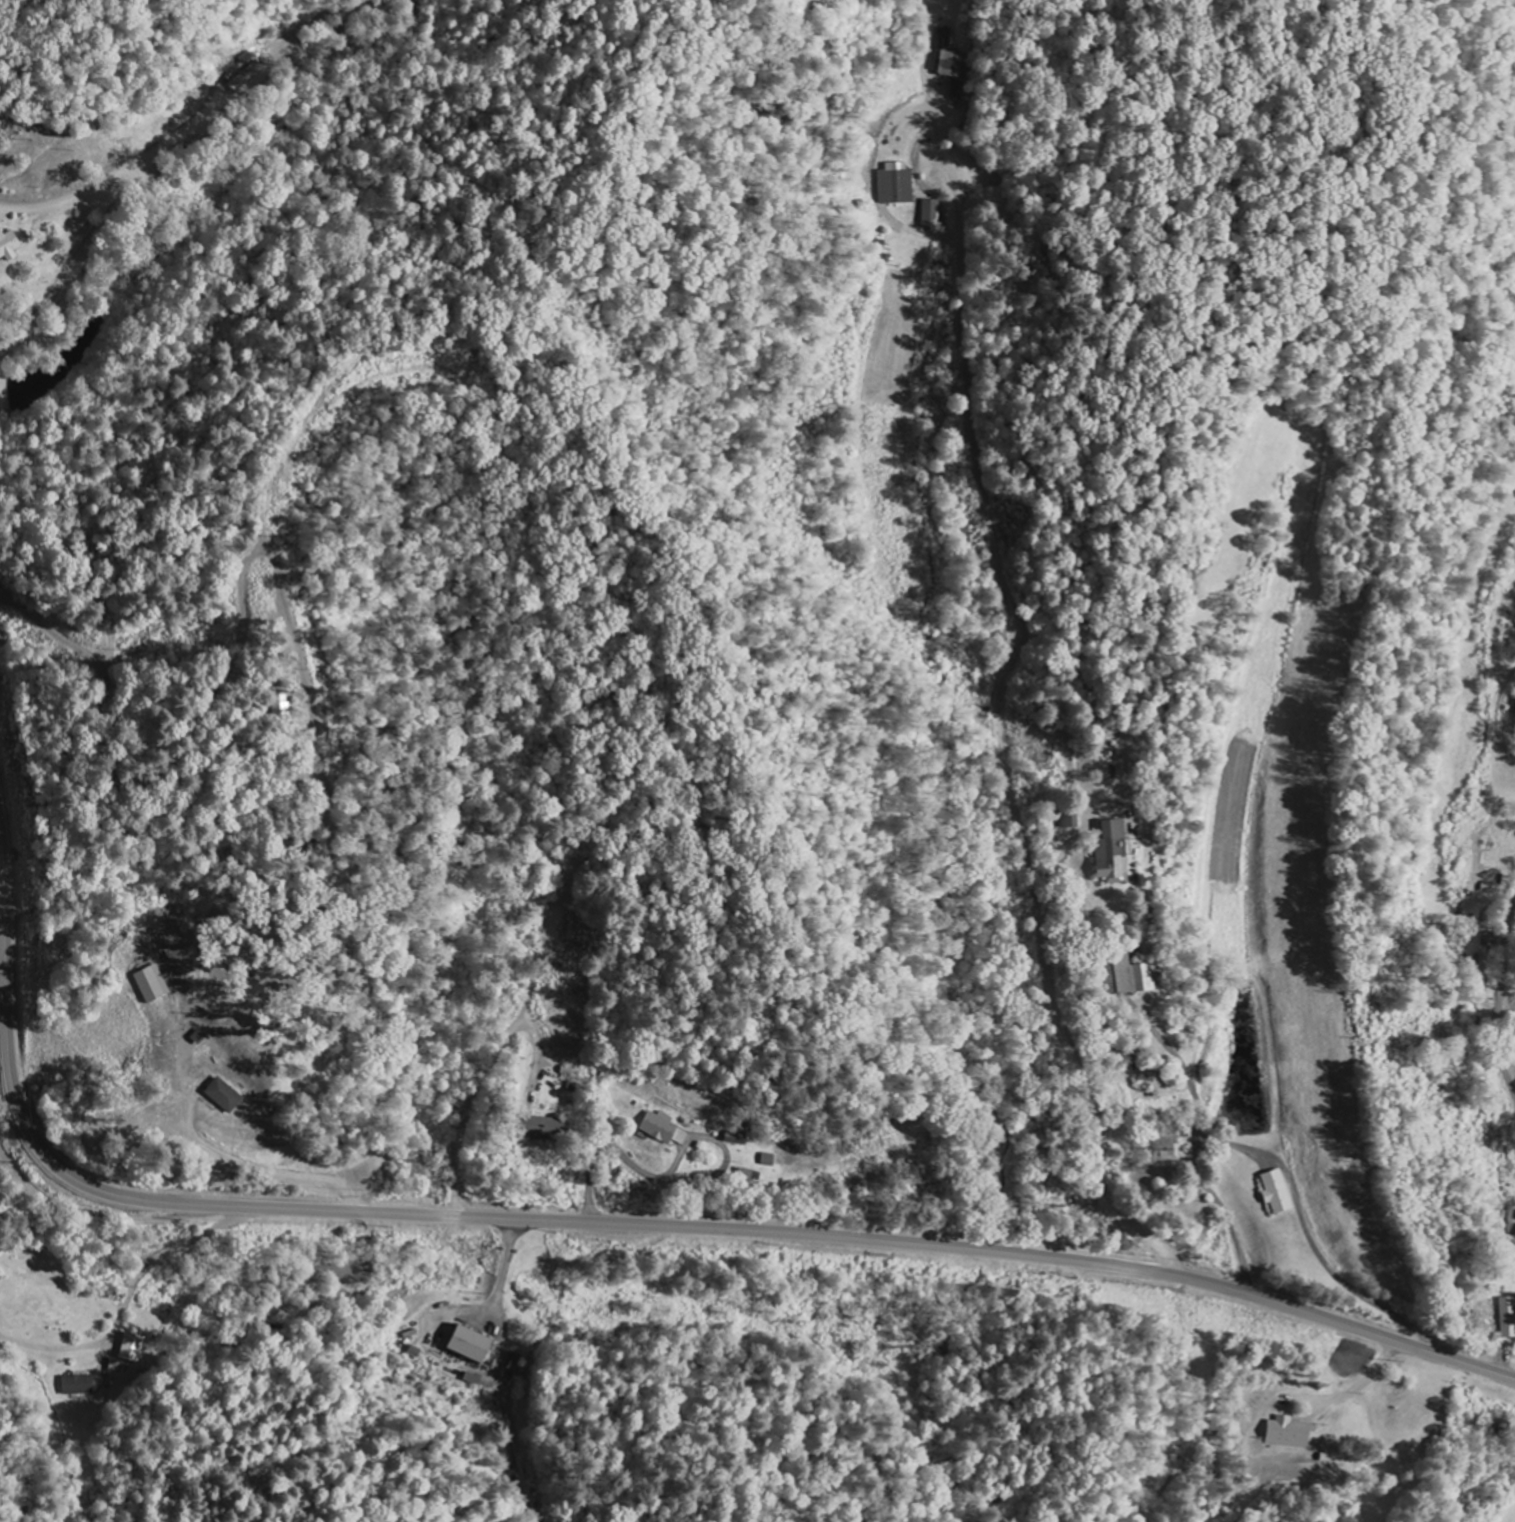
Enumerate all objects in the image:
building: (950, 58)
building: (245, 78)
building: (898, 186)
building: (932, 215)
building: (9, 247)
building: (1112, 854)
building: (1133, 975)
building: (152, 985)
road: (1501, 997)
road: (1071, 1055)
building: (224, 1096)
building: (659, 1128)
building: (540, 1129)
building: (737, 1139)
building: (1167, 1150)
building: (1276, 1193)
road: (98, 1214)
road: (628, 1224)
road: (127, 1303)
building: (1508, 1318)
building: (471, 1345)
building: (133, 1349)
building: (79, 1385)
building: (1289, 1434)

